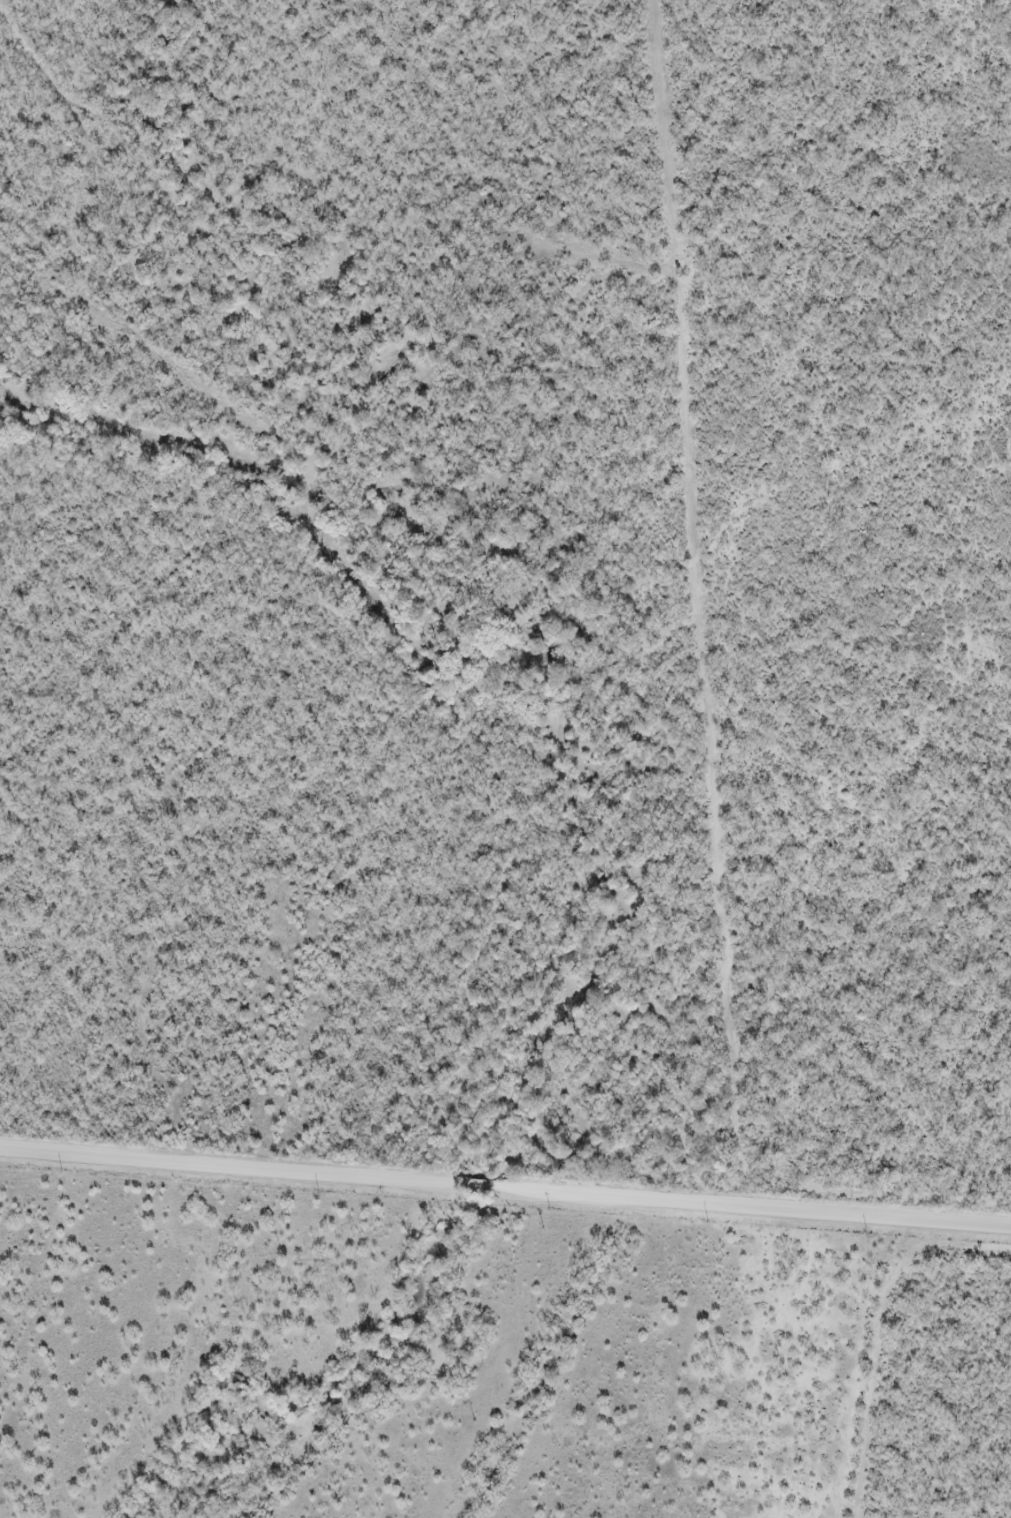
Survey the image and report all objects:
road: (505, 1181)

